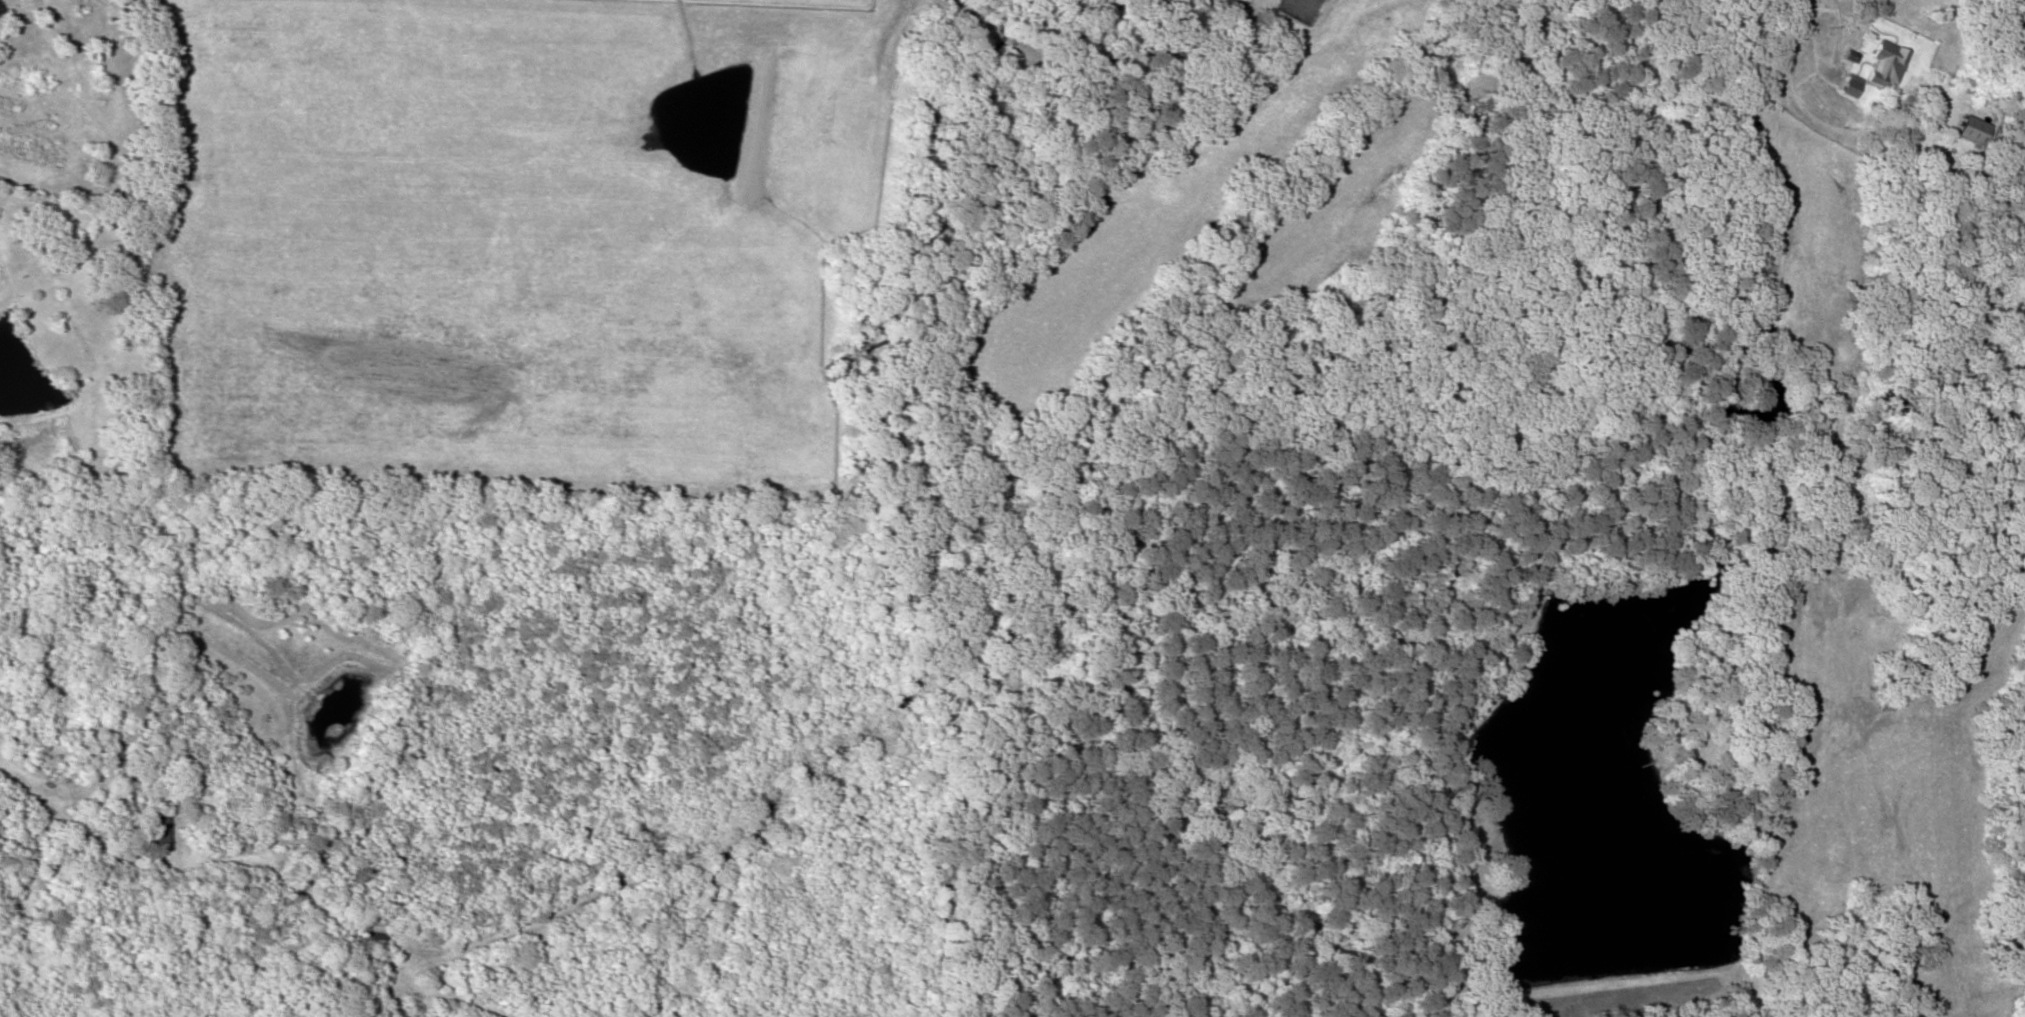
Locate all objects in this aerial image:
building: (1884, 51)
building: (1850, 76)
building: (127, 199)
road: (1583, 413)
road: (1781, 673)
building: (381, 929)

